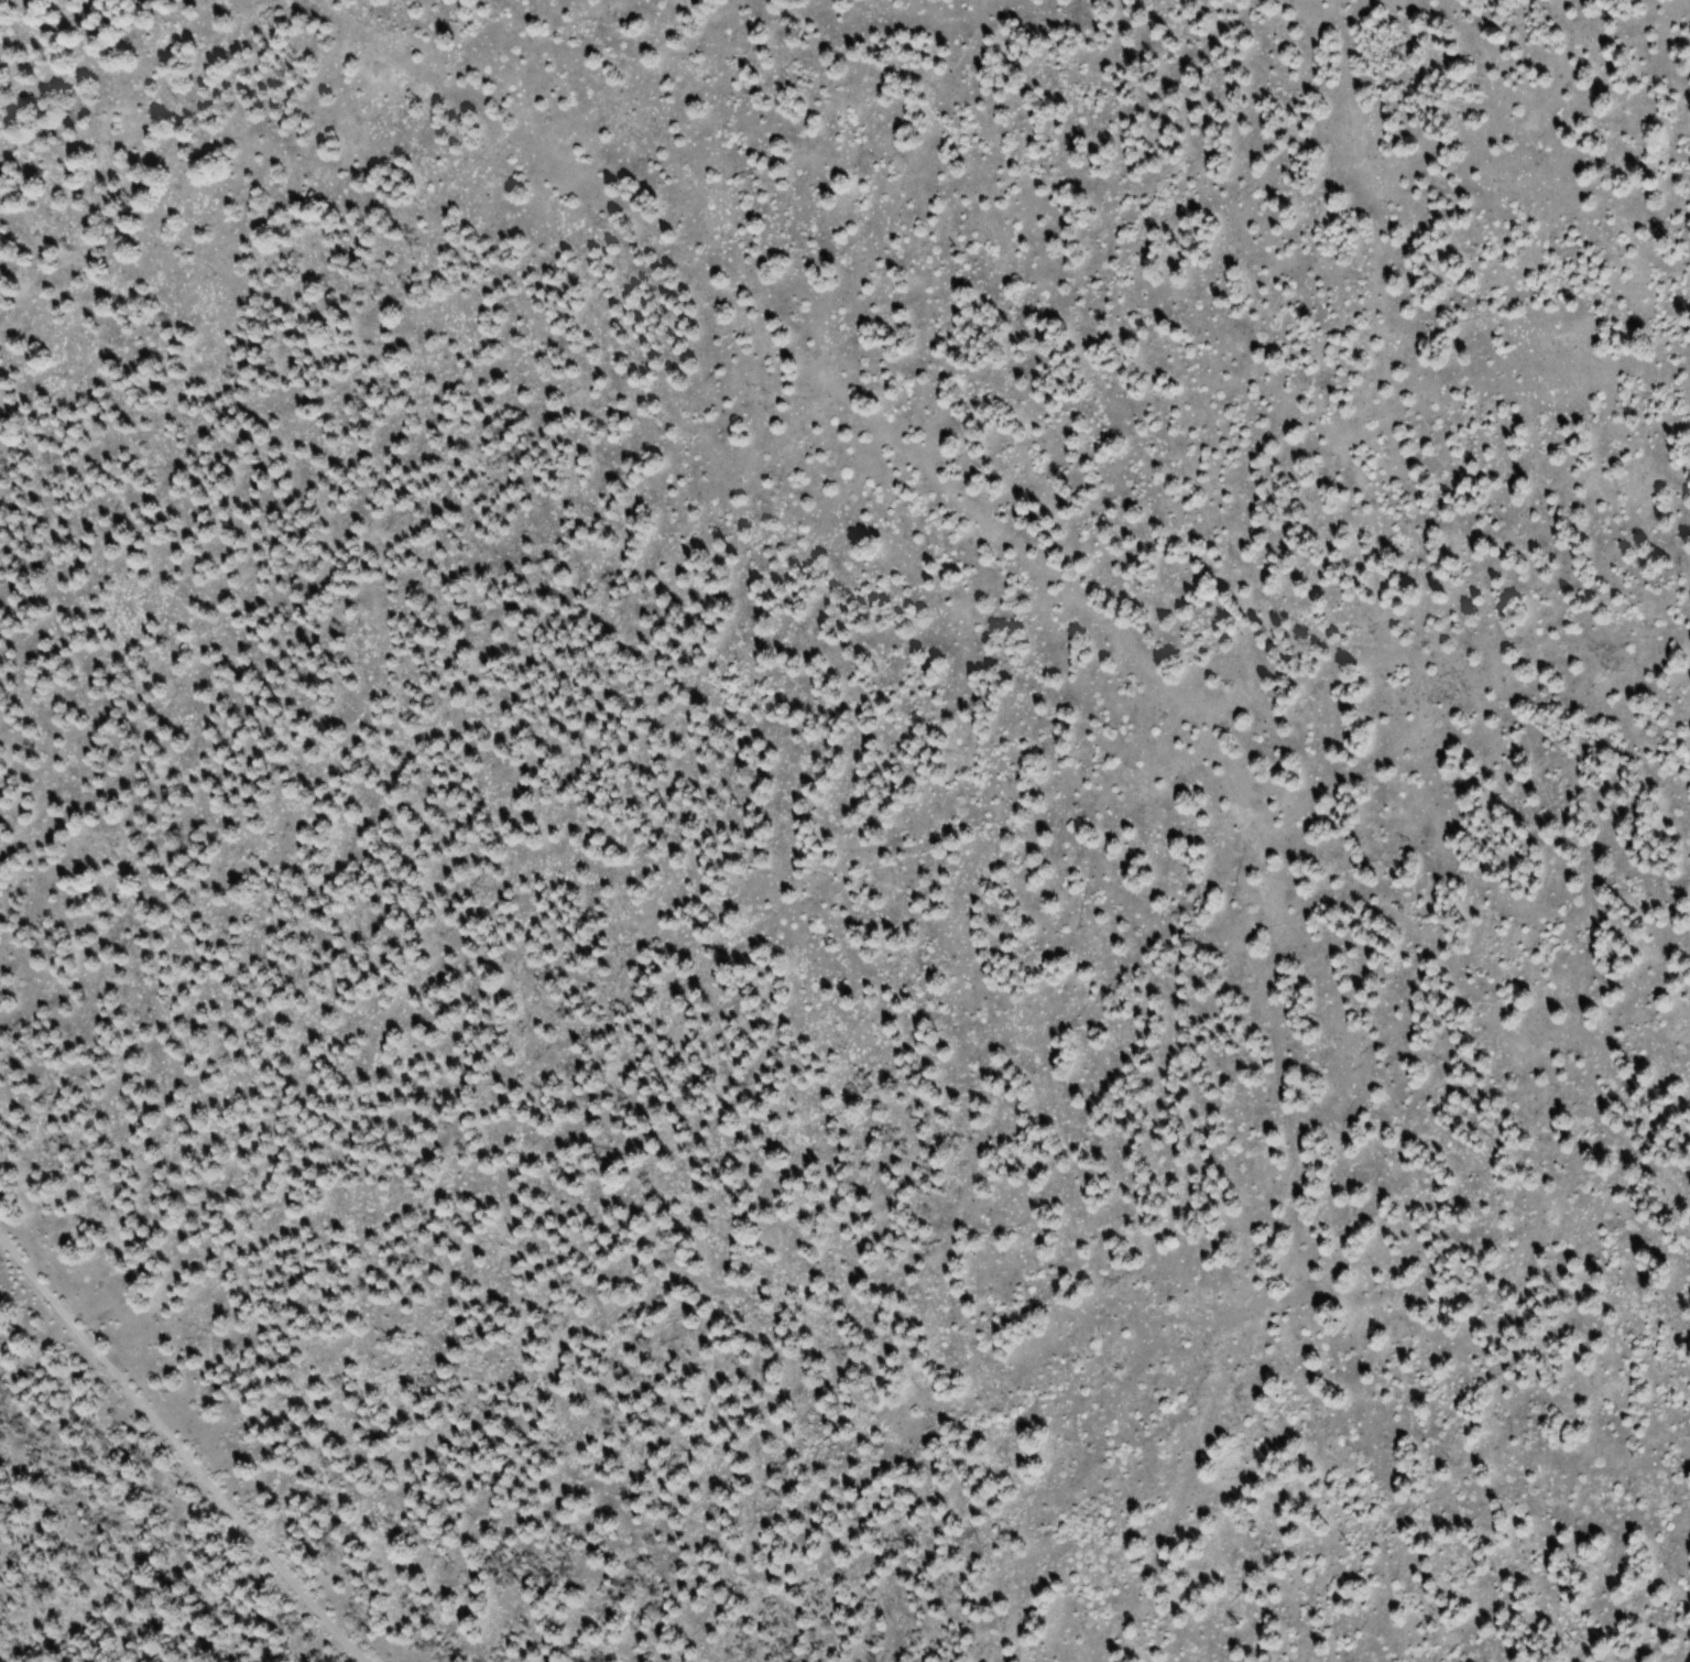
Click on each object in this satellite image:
road: (565, 160)
road: (1273, 934)
road: (182, 1455)

